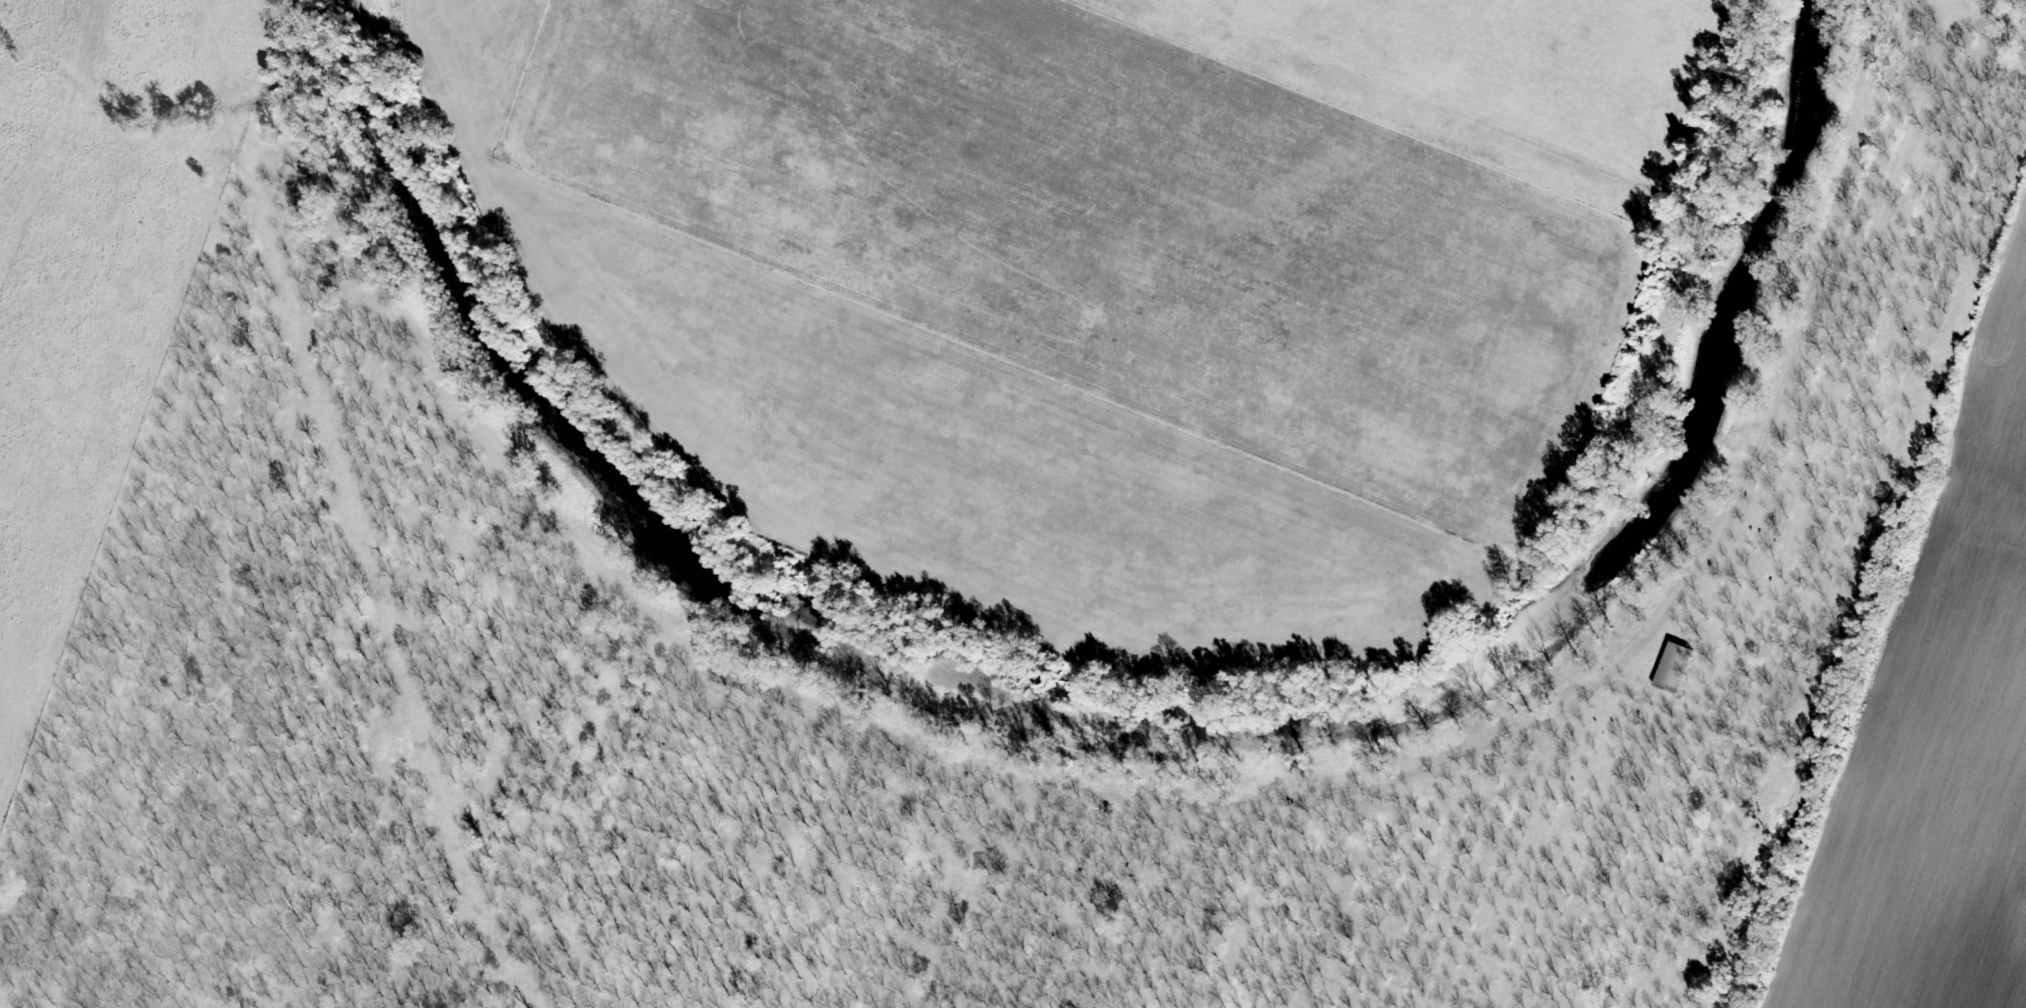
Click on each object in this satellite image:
building: (1673, 667)

